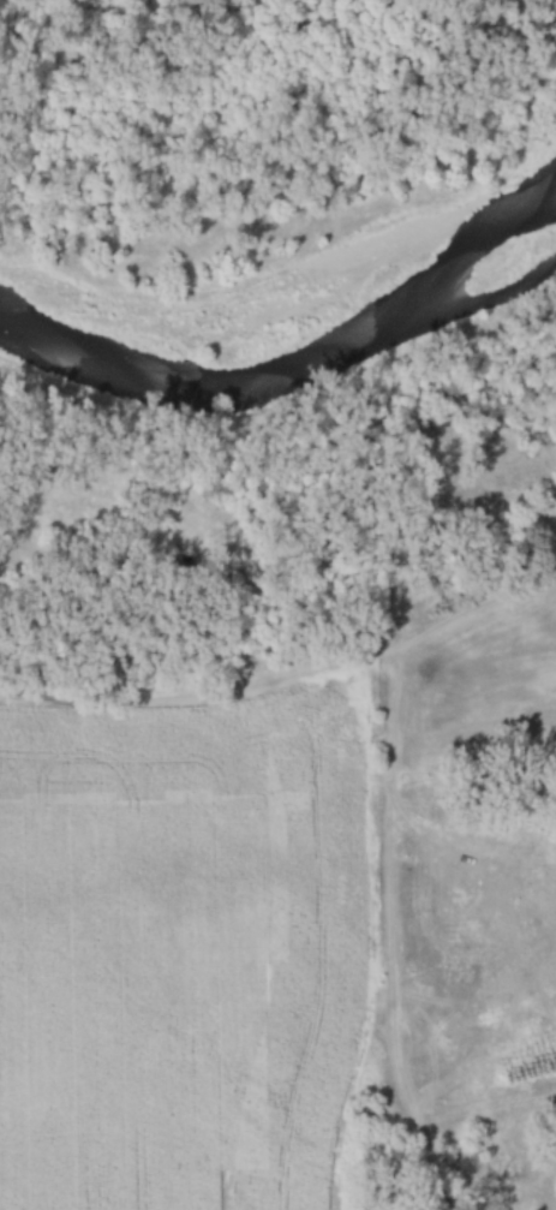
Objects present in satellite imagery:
river: (289, 365)

